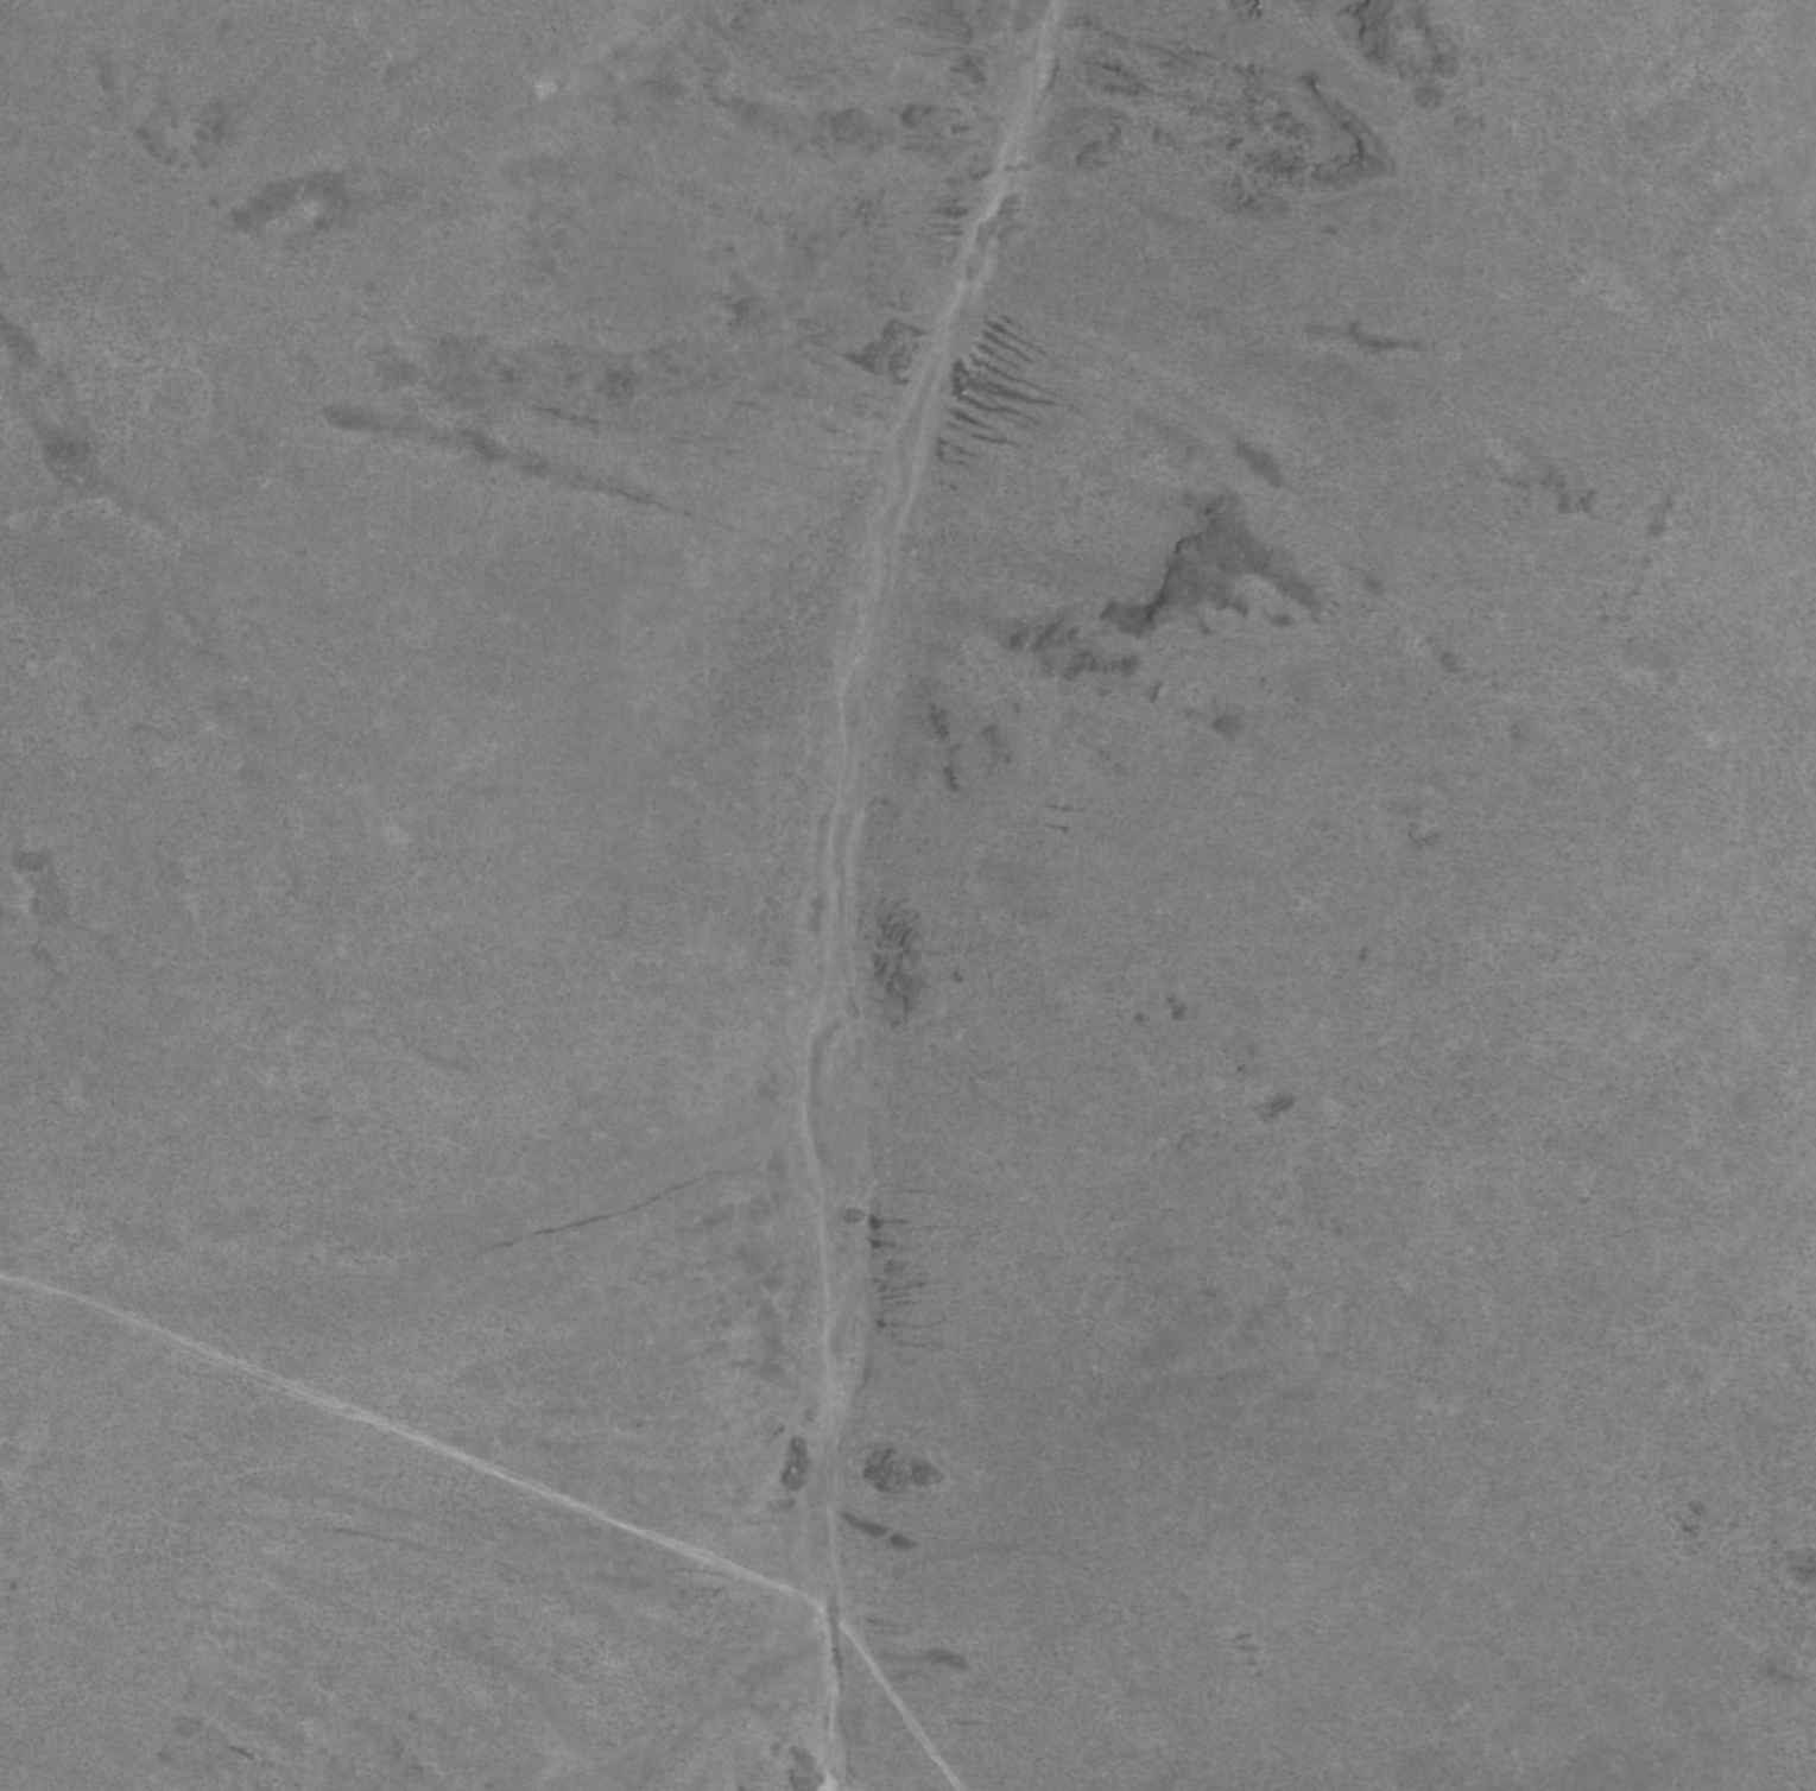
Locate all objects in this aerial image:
road: (520, 1481)

